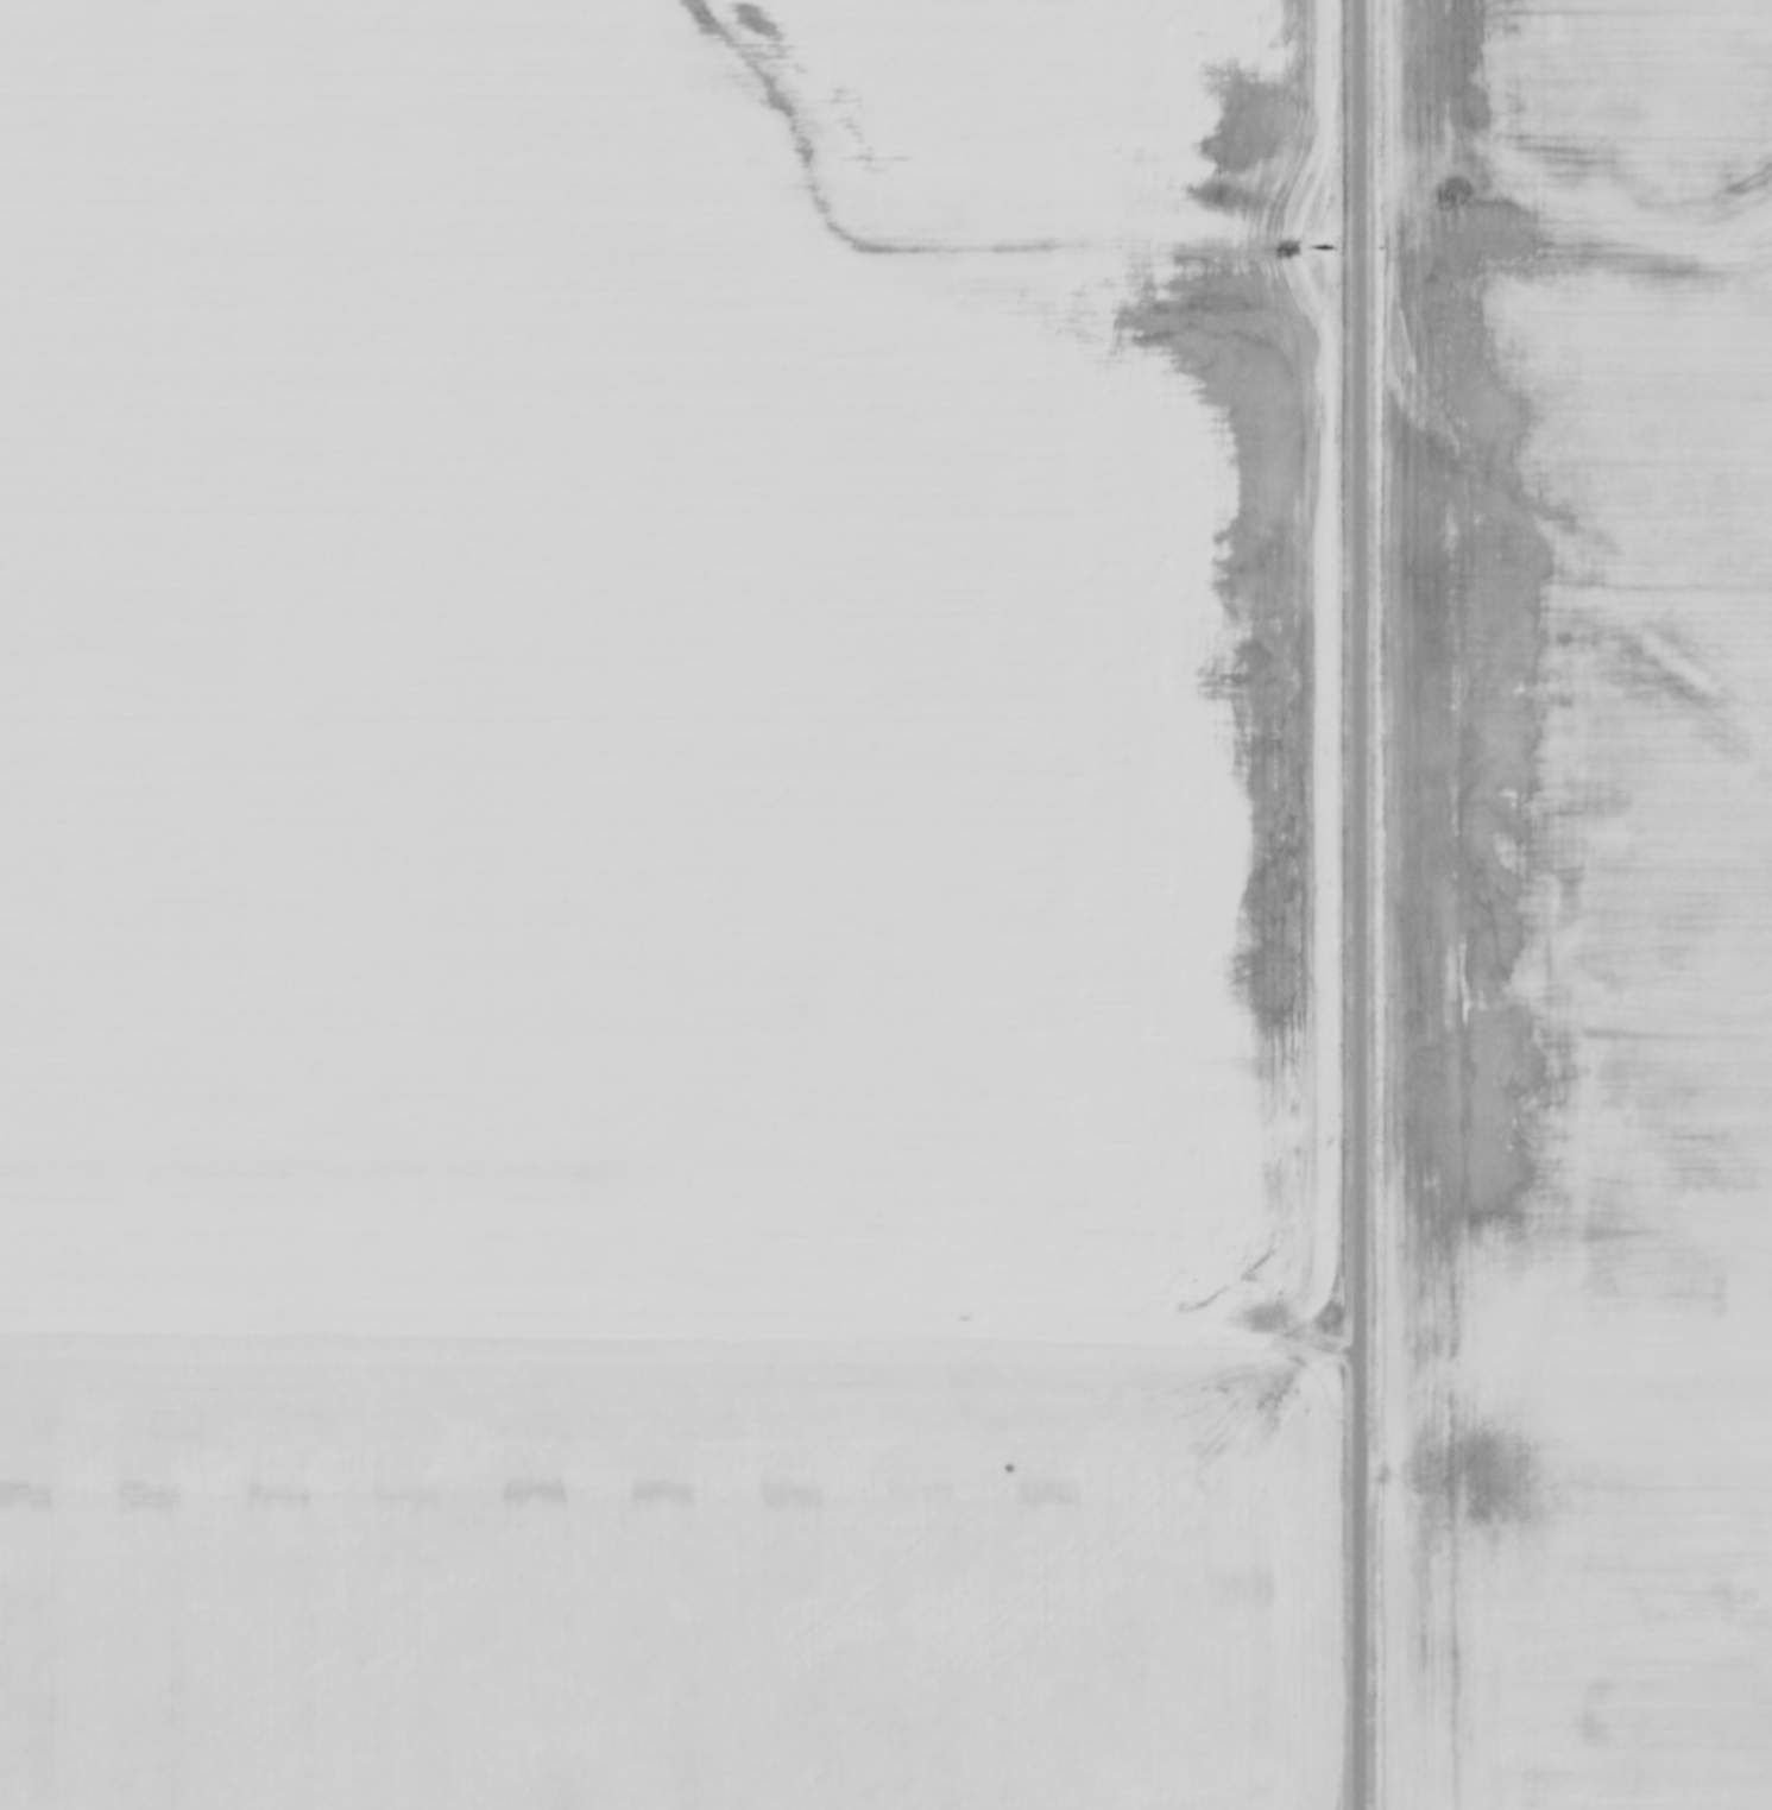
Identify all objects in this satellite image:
road: (1363, 904)

